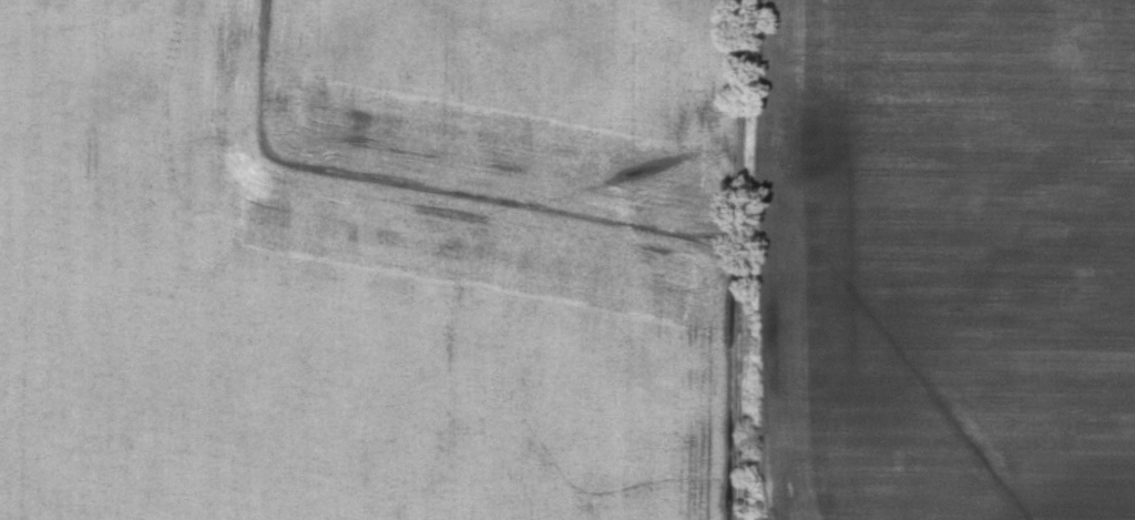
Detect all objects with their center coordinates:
road: (746, 259)

